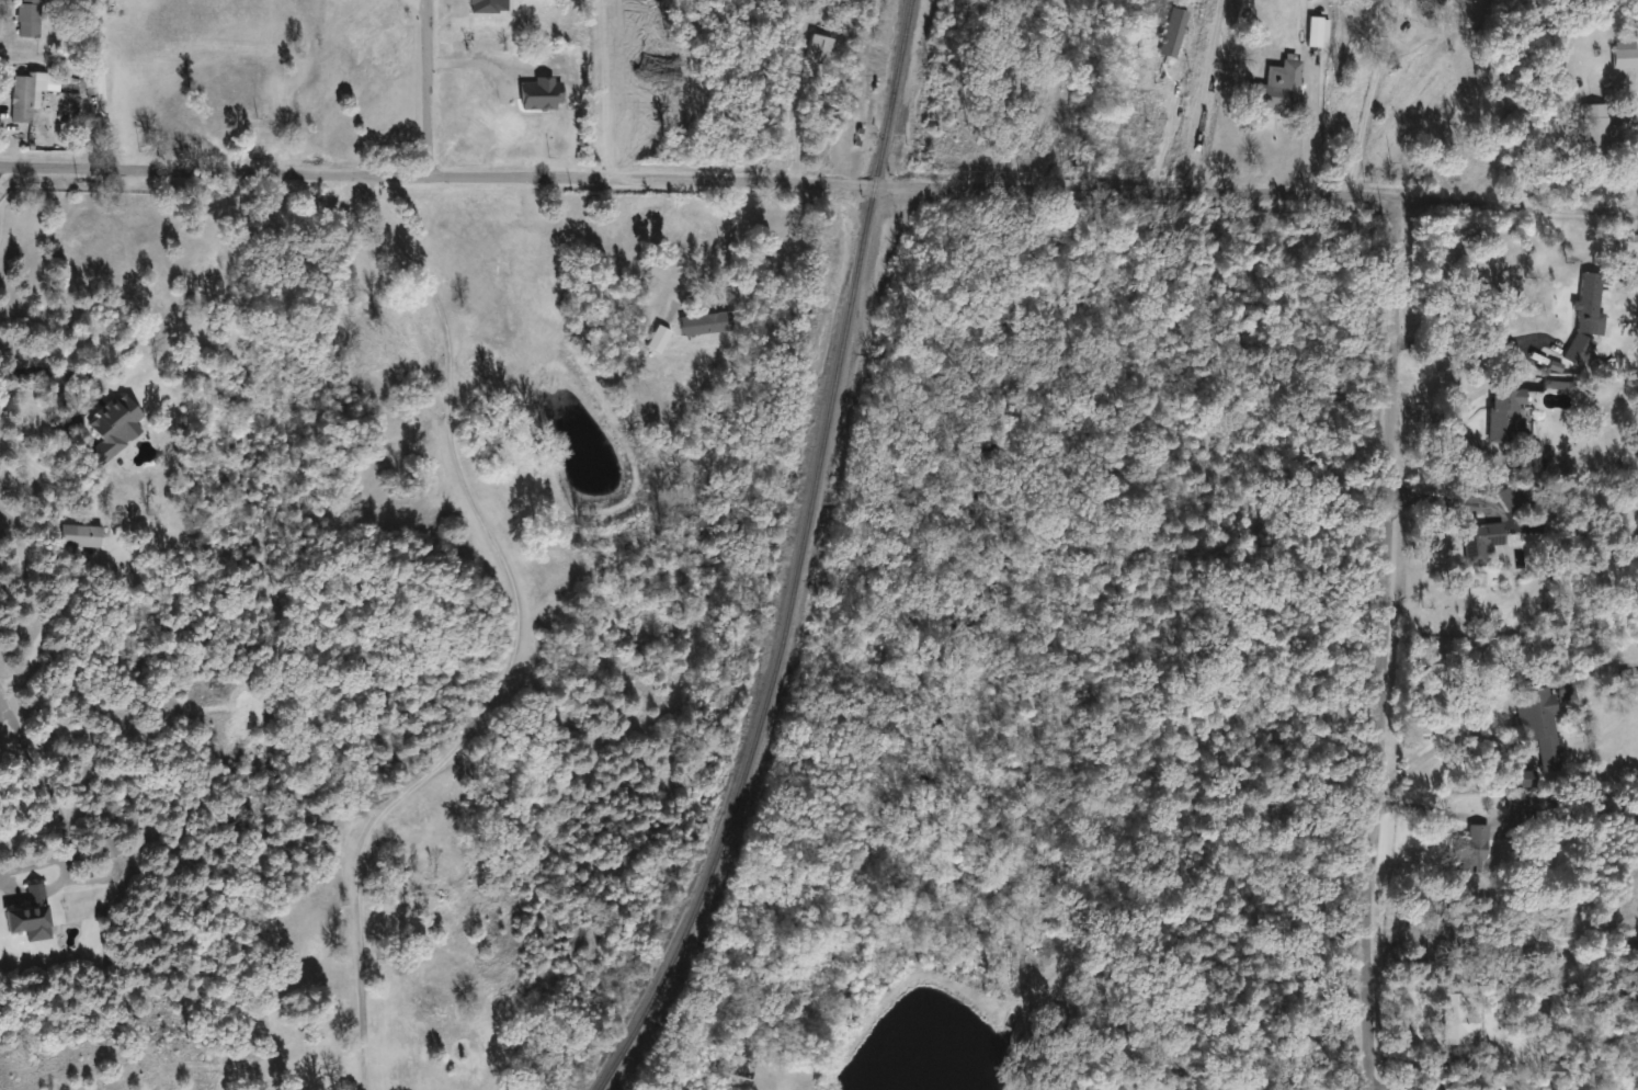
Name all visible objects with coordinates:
building: (29, 18)
building: (1173, 32)
building: (1318, 32)
building: (820, 49)
building: (1624, 55)
road: (478, 63)
road: (98, 86)
road: (426, 89)
building: (1275, 89)
building: (30, 93)
building: (541, 93)
road: (1364, 107)
road: (792, 121)
building: (1593, 128)
road: (1163, 136)
road: (1306, 144)
road: (819, 182)
road: (730, 239)
building: (1589, 305)
building: (706, 323)
road: (1464, 341)
building: (1574, 355)
road: (32, 366)
road: (83, 408)
road: (1442, 412)
building: (1508, 416)
building: (115, 422)
building: (1528, 458)
building: (1506, 498)
building: (80, 535)
building: (1481, 542)
railway: (804, 559)
road: (1381, 644)
road: (517, 645)
building: (1566, 692)
building: (1539, 725)
road: (1432, 751)
building: (1523, 780)
building: (1526, 803)
road: (57, 809)
road: (1440, 810)
building: (109, 848)
building: (1477, 851)
building: (30, 912)
building: (1463, 1020)
road: (1267, 1053)
building: (1557, 1071)
building: (1526, 1087)

